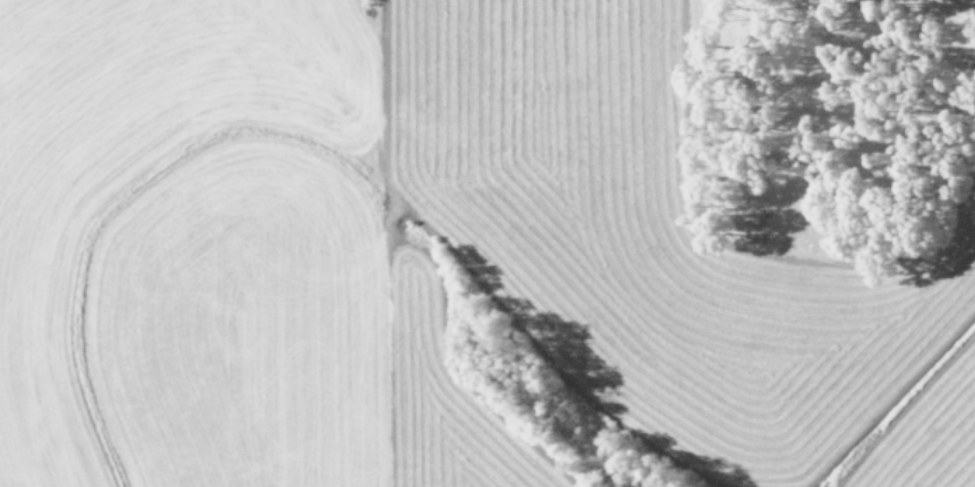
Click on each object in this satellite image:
crop: (487, 243)

